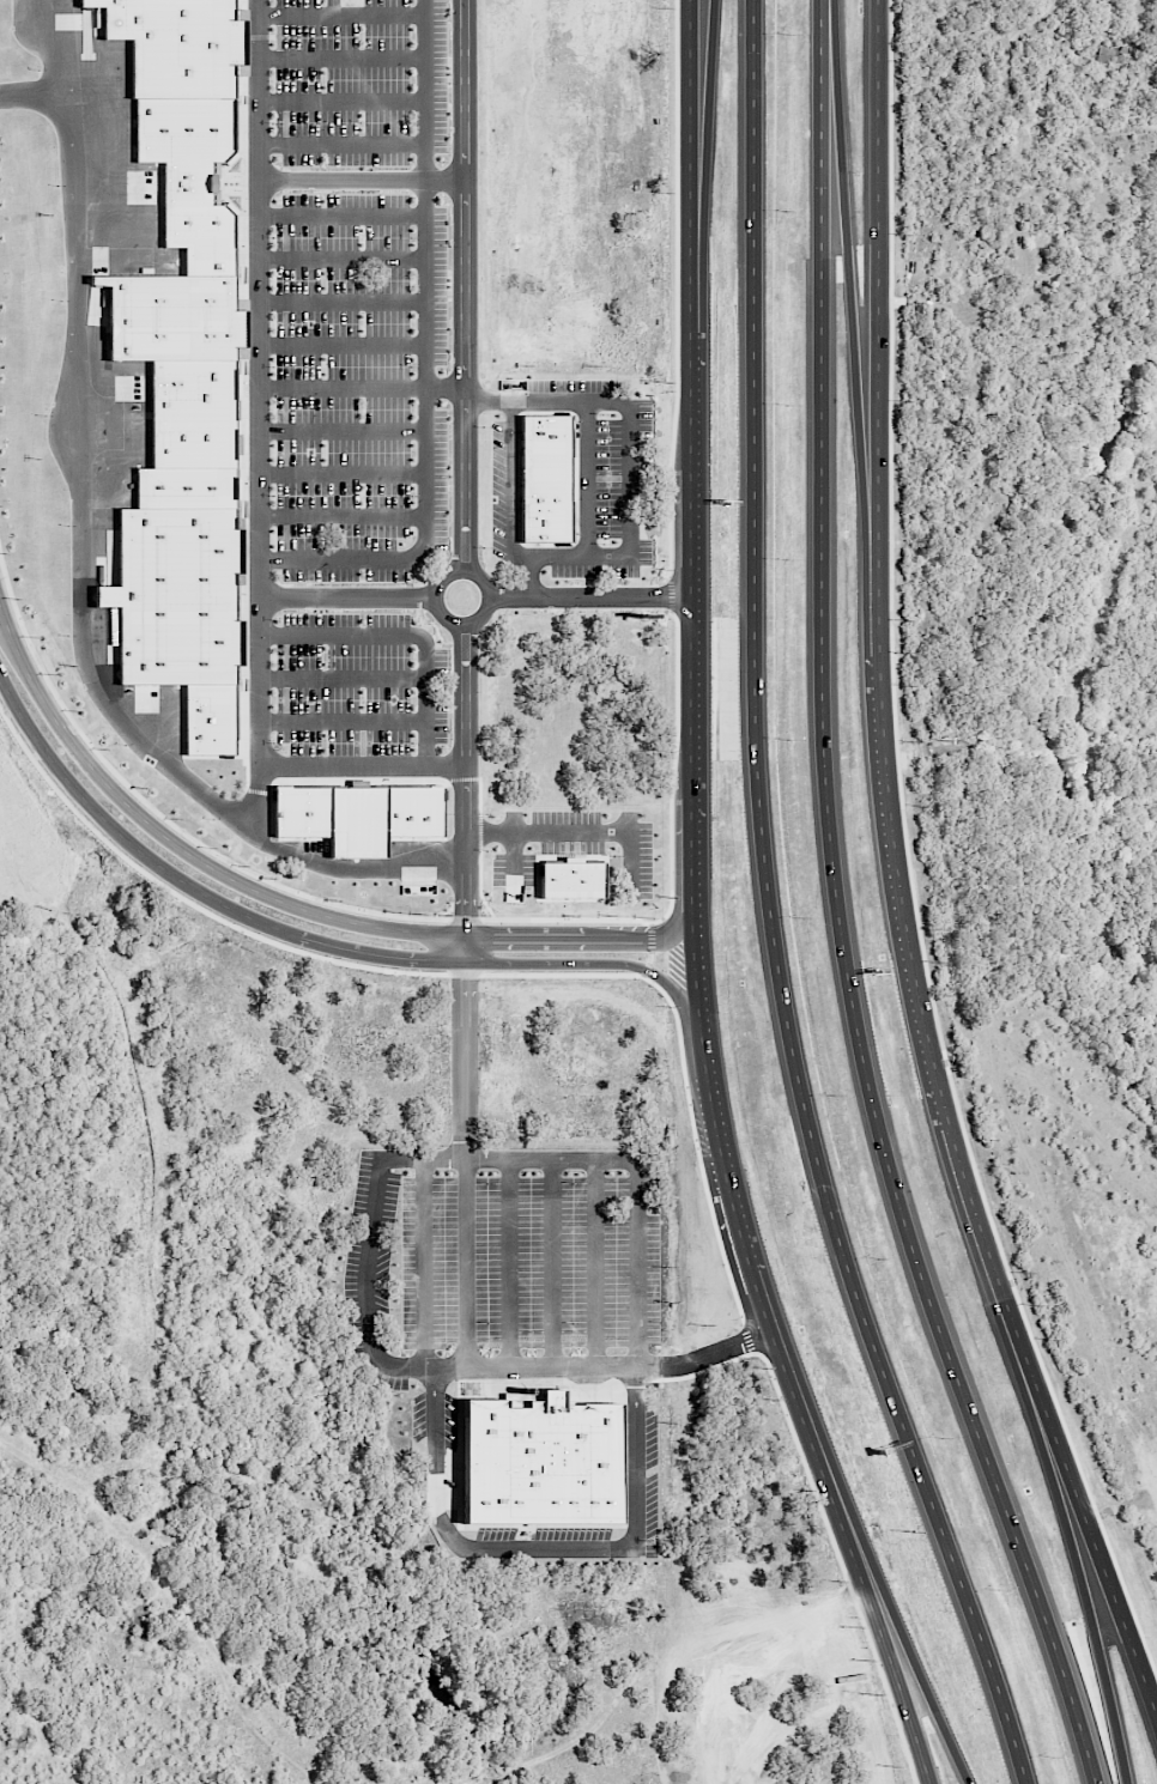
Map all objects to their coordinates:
road: (344, 12)
building: (175, 43)
building: (1111, 54)
road: (344, 56)
road: (691, 80)
road: (696, 80)
road: (34, 95)
road: (344, 98)
building: (183, 127)
road: (344, 138)
road: (361, 180)
building: (189, 182)
road: (860, 182)
road: (873, 182)
road: (344, 216)
building: (201, 236)
road: (344, 255)
road: (465, 285)
road: (677, 287)
road: (345, 301)
building: (171, 314)
road: (345, 344)
road: (431, 363)
road: (361, 389)
building: (193, 411)
road: (259, 420)
road: (345, 430)
road: (345, 474)
building: (545, 475)
building: (186, 486)
road: (345, 516)
road: (590, 532)
road: (80, 562)
road: (465, 571)
building: (176, 593)
road: (670, 594)
road: (350, 596)
road: (590, 596)
road: (406, 632)
road: (343, 685)
building: (210, 716)
road: (343, 730)
road: (315, 765)
road: (672, 771)
road: (466, 791)
building: (359, 813)
road: (580, 833)
road: (677, 848)
road: (514, 864)
road: (246, 869)
building: (573, 878)
road: (192, 887)
road: (258, 891)
road: (769, 910)
road: (840, 911)
road: (650, 949)
road: (556, 963)
road: (374, 967)
road: (696, 990)
road: (685, 1038)
road: (928, 1066)
road: (644, 1176)
road: (369, 1322)
building: (557, 1457)
road: (1102, 1630)
road: (907, 1668)

